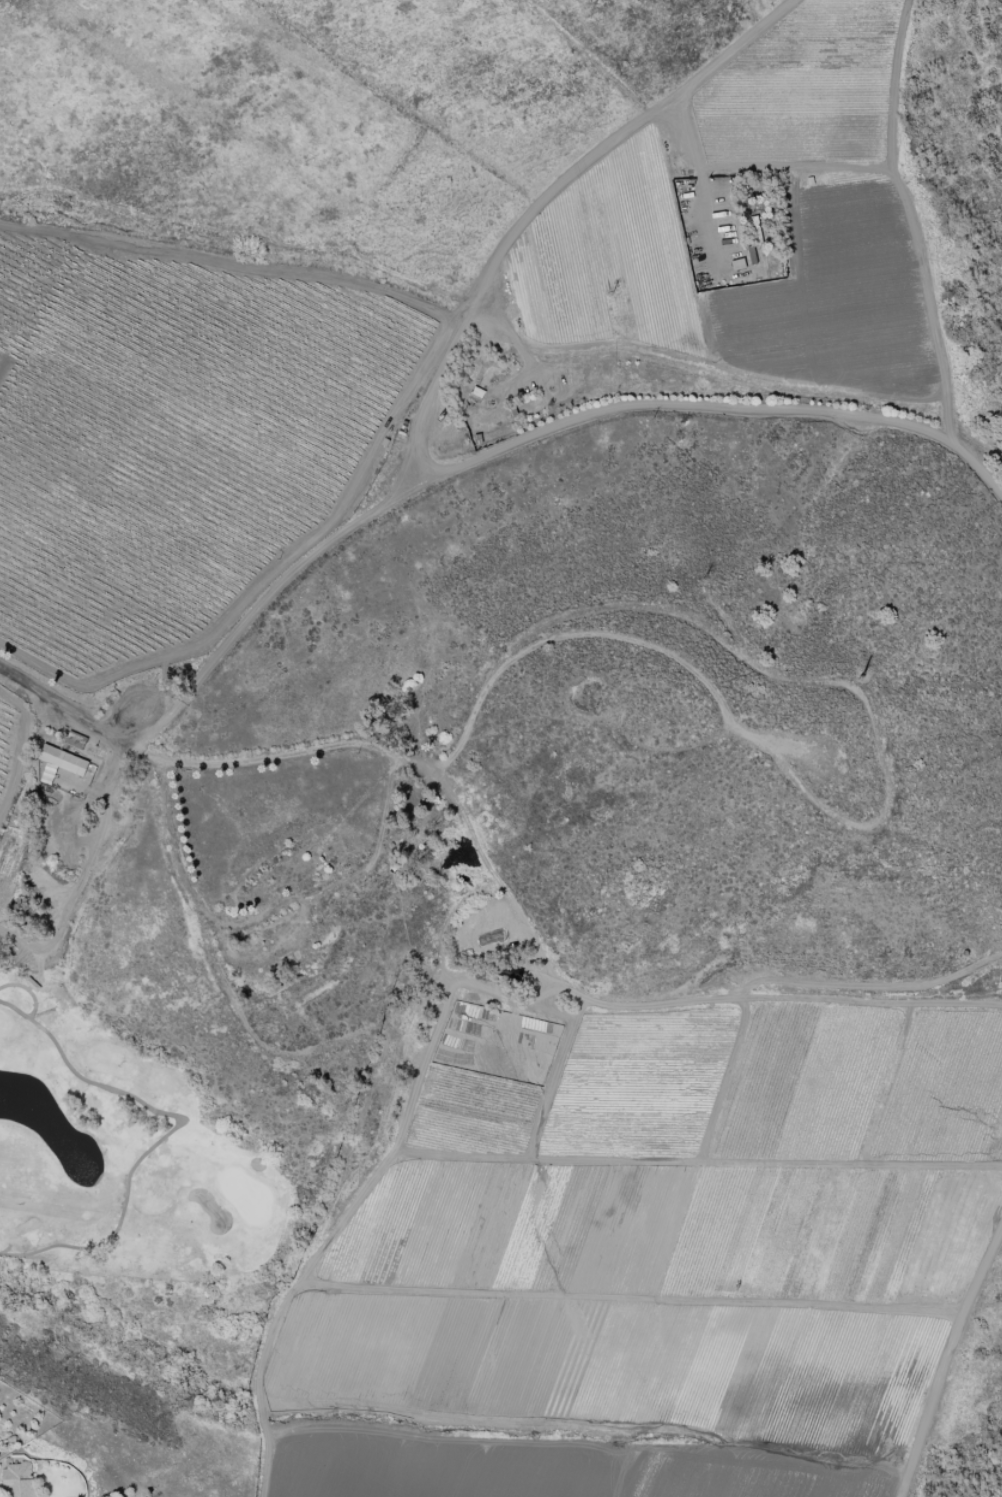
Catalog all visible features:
park: (961, 161)
road: (525, 438)
building: (63, 760)
road: (170, 761)
road: (453, 799)
road: (92, 846)
park: (201, 1027)
road: (944, 1360)
park: (972, 1416)
building: (18, 1480)

